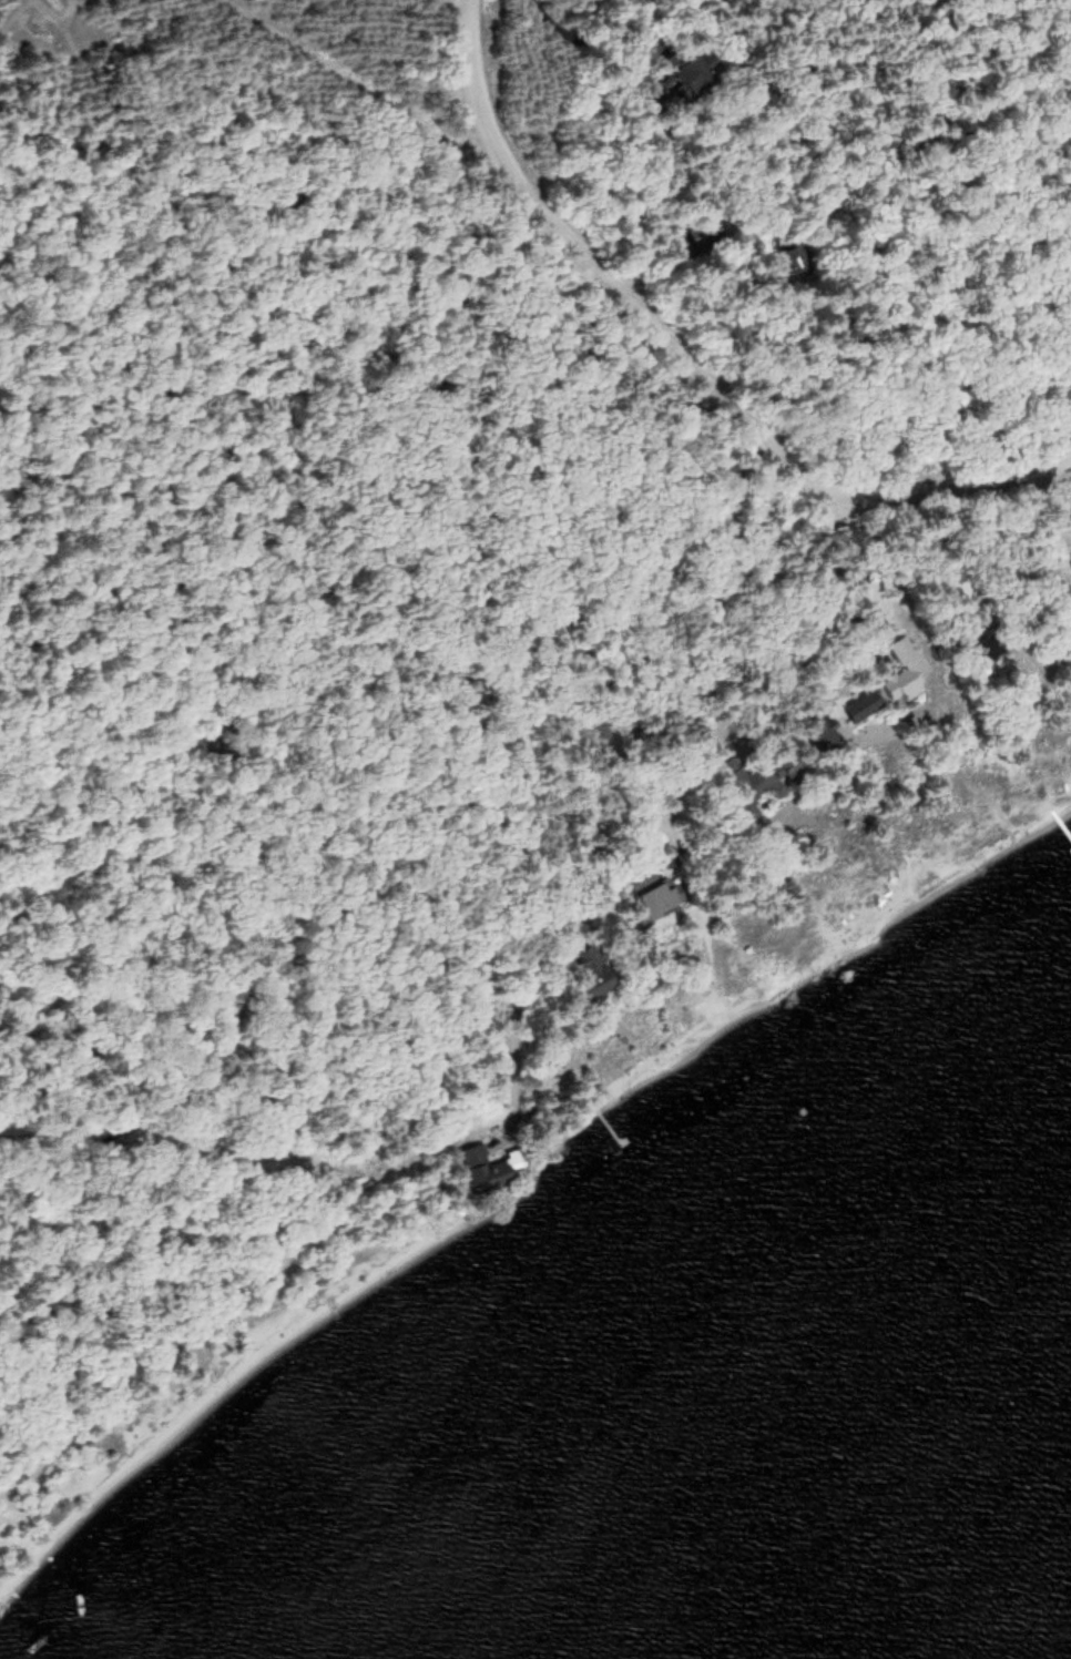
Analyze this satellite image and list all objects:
road: (580, 38)
building: (695, 67)
building: (704, 234)
building: (790, 256)
road: (685, 365)
building: (952, 396)
building: (871, 596)
road: (680, 624)
building: (905, 664)
building: (754, 775)
building: (654, 899)
building: (592, 971)
building: (490, 1164)

